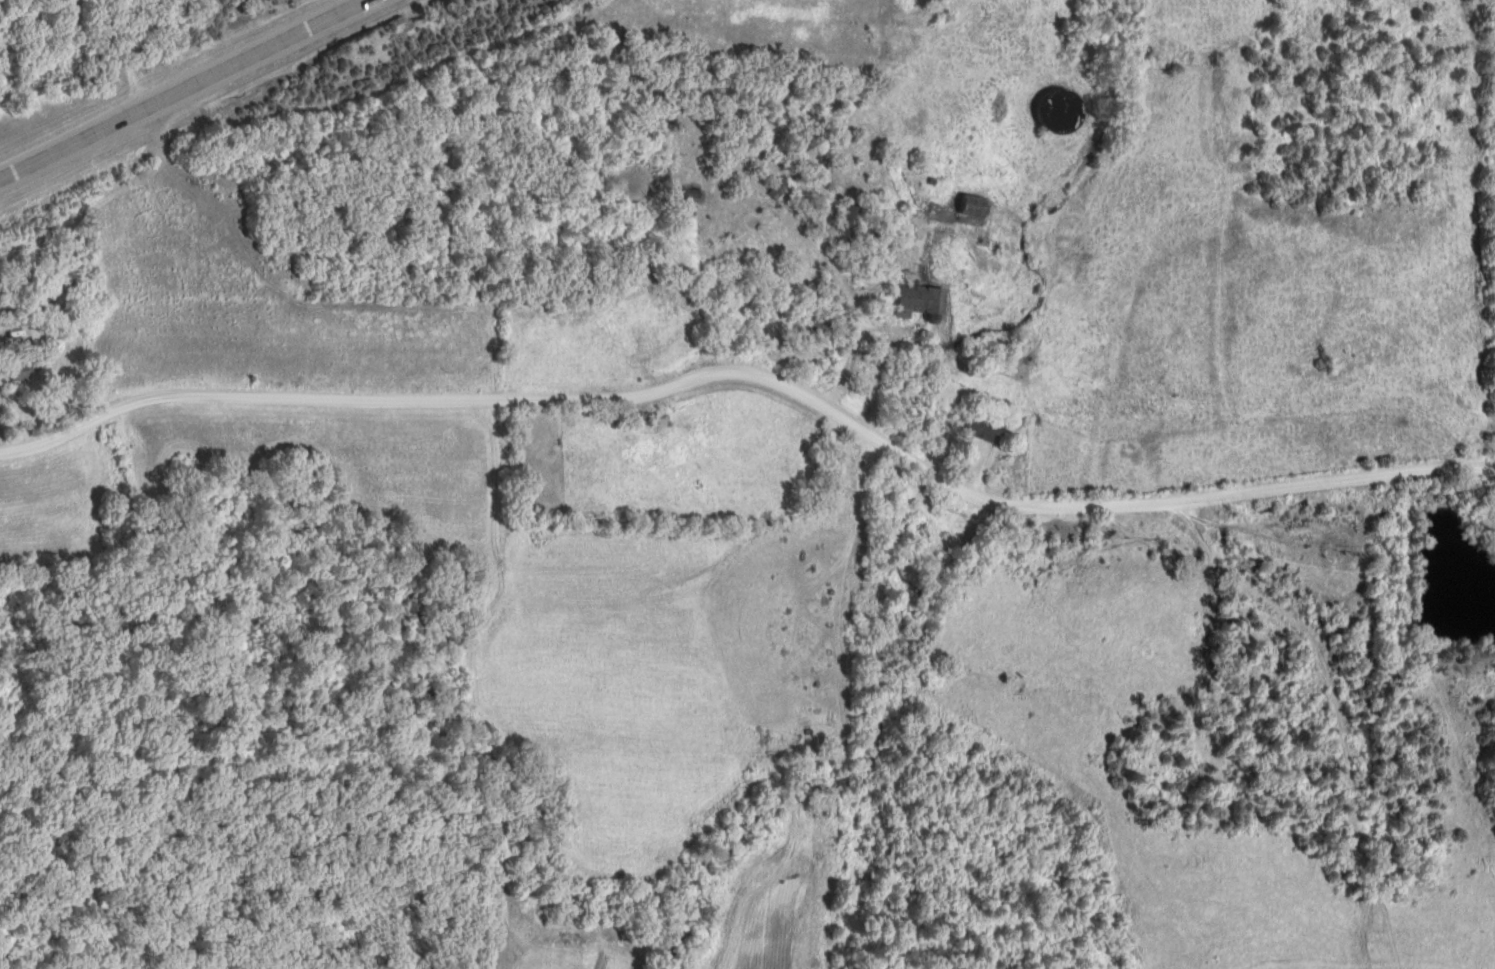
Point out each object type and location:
road: (188, 87)
building: (1060, 111)
building: (692, 196)
building: (973, 210)
building: (848, 227)
building: (920, 304)
building: (26, 368)
road: (758, 370)
building: (984, 430)

